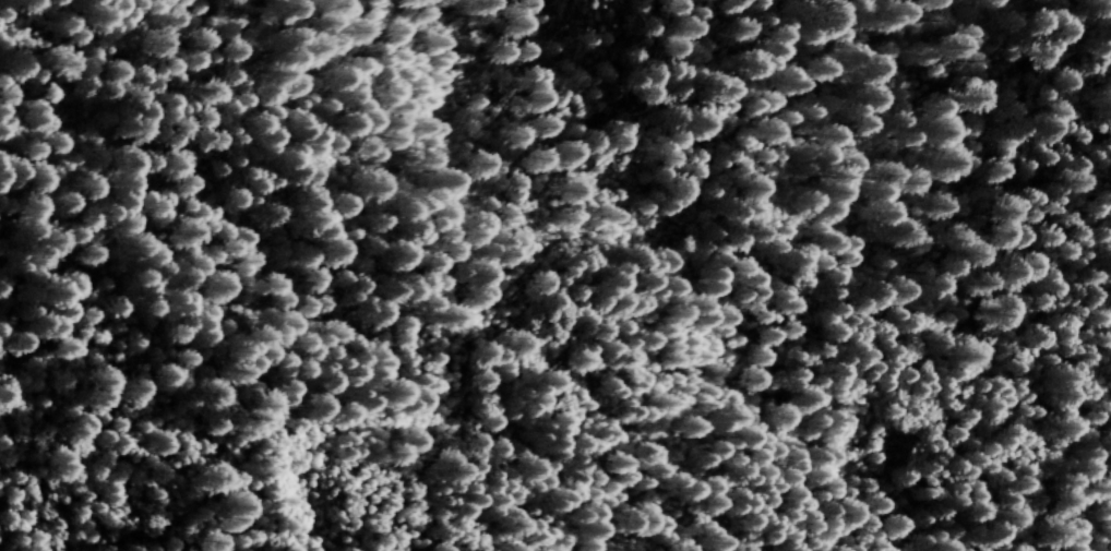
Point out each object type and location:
park: (580, 303)

